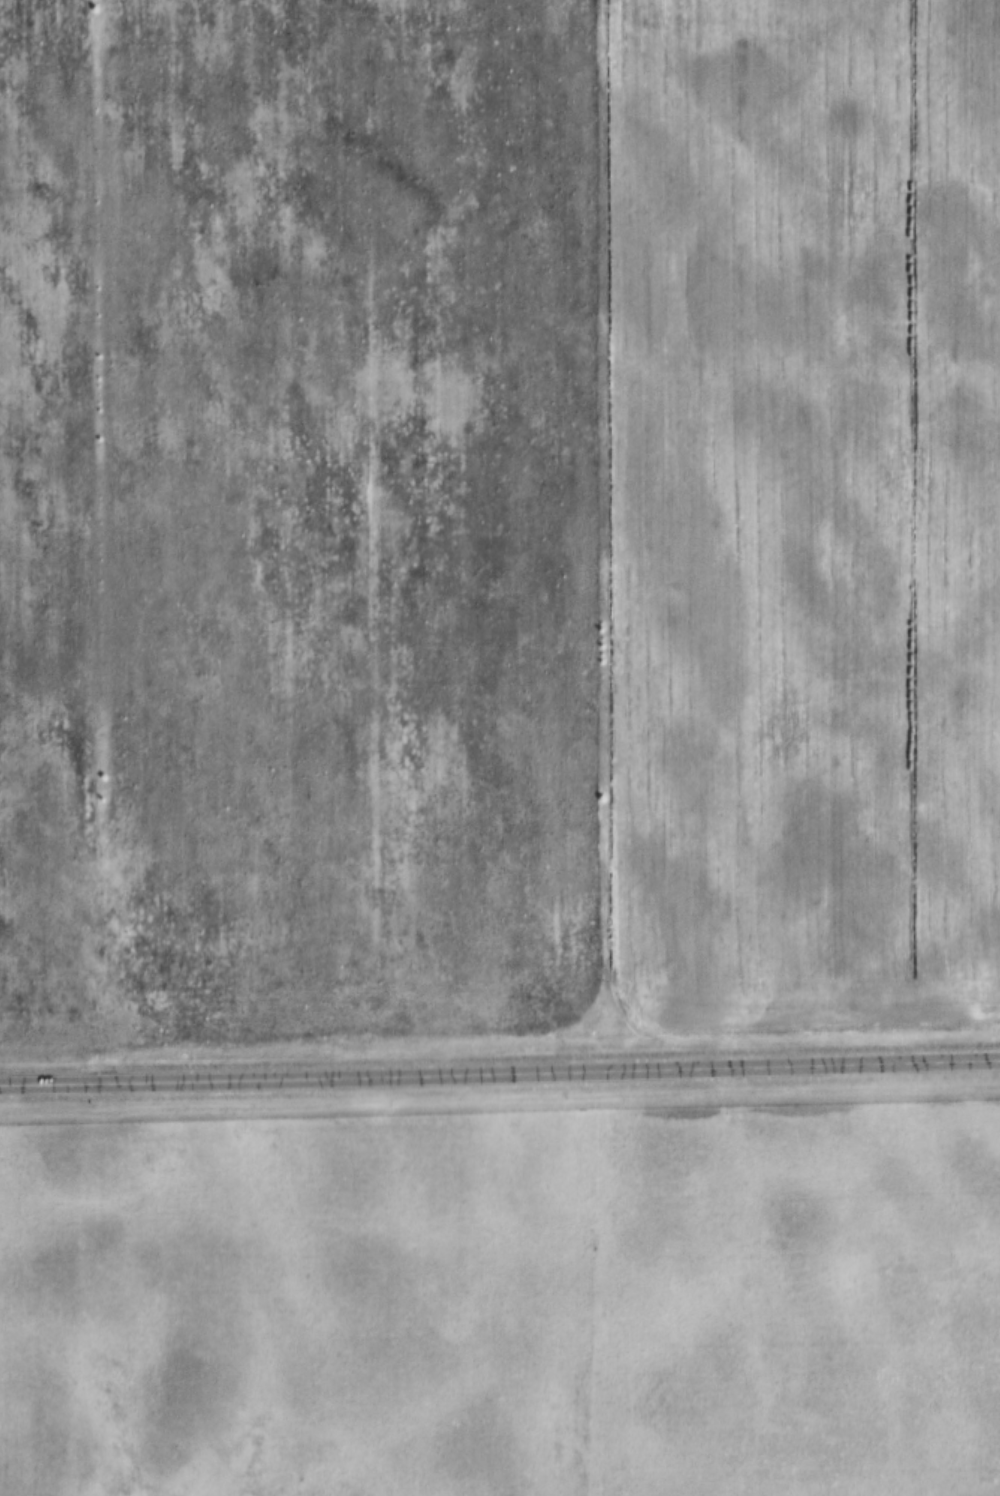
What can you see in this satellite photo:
road: (500, 1070)

